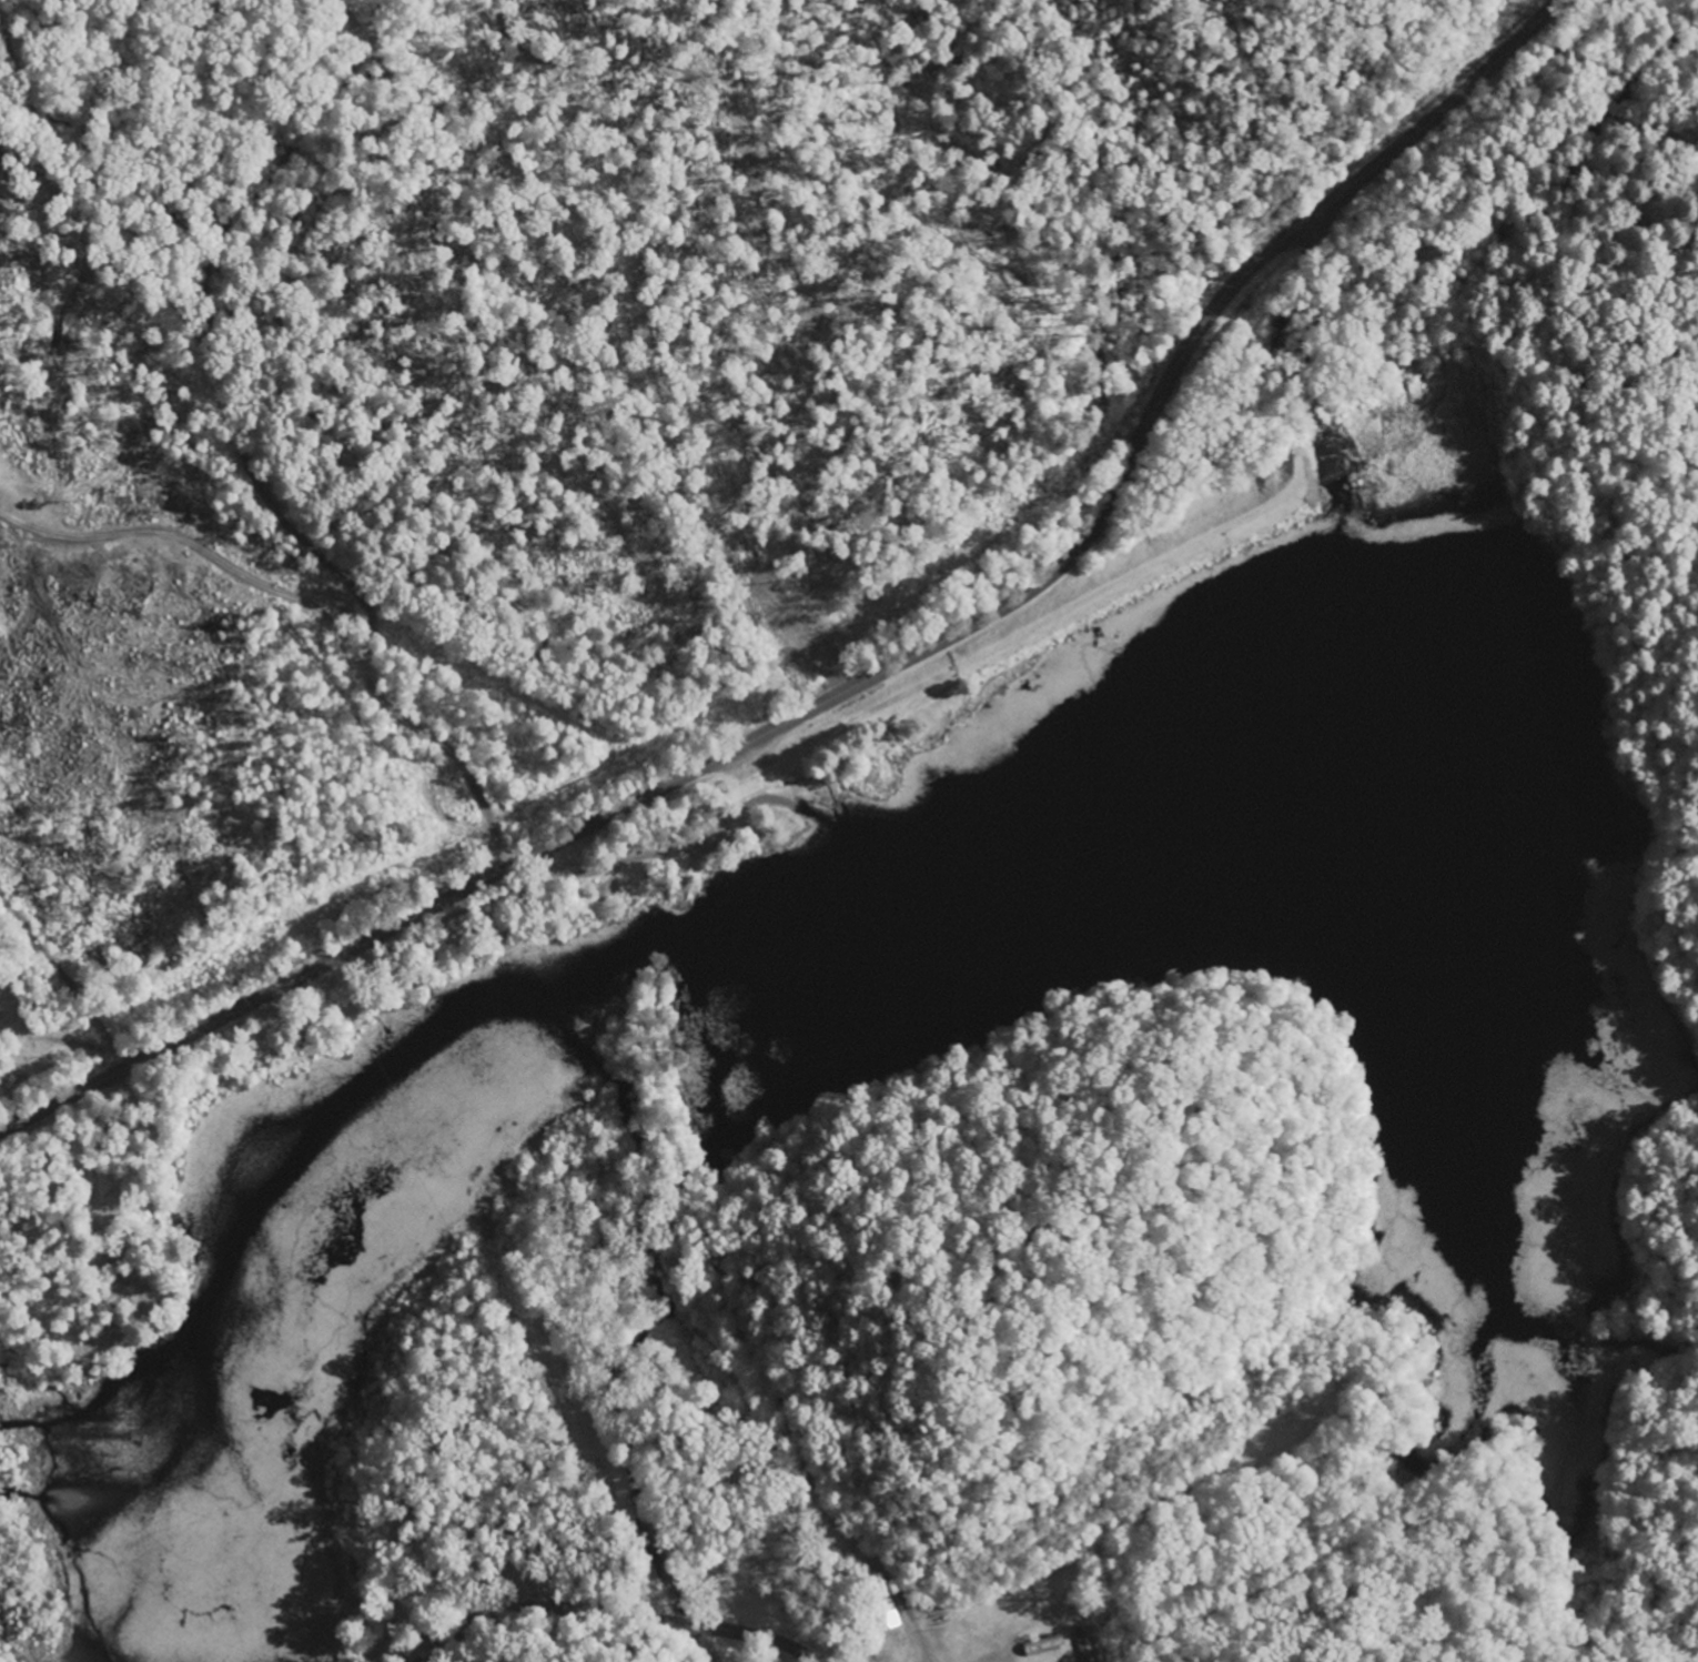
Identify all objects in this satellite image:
road: (271, 179)
road: (97, 200)
road: (1381, 299)
road: (1259, 323)
road: (284, 518)
road: (309, 612)
road: (829, 665)
road: (872, 677)
road: (659, 854)
road: (64, 983)
park: (8, 990)
building: (887, 1605)
road: (616, 1614)
building: (1085, 1643)
building: (1042, 1645)

